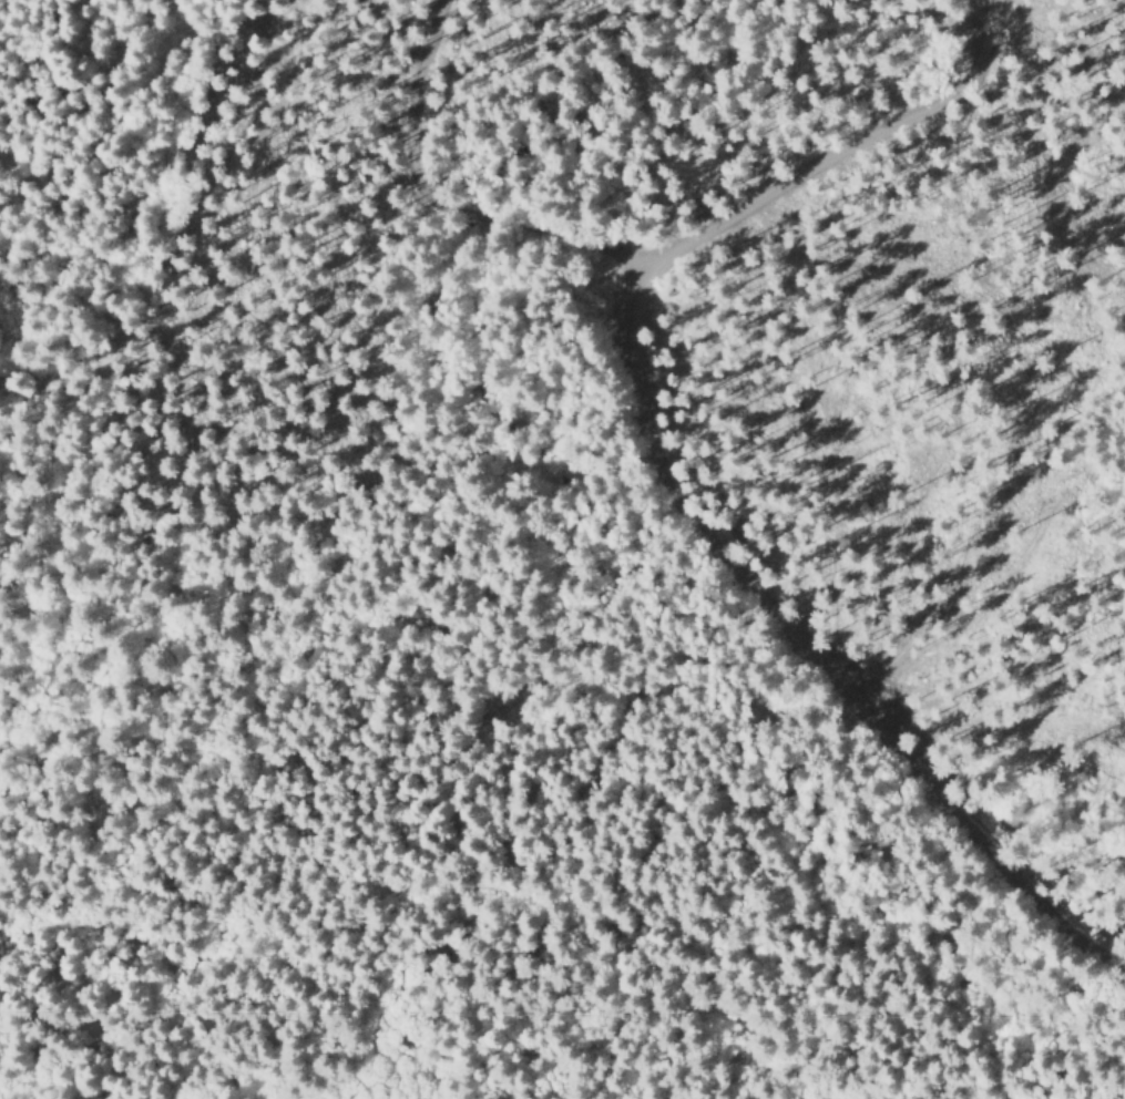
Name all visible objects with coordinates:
road: (449, 209)
road: (662, 481)

